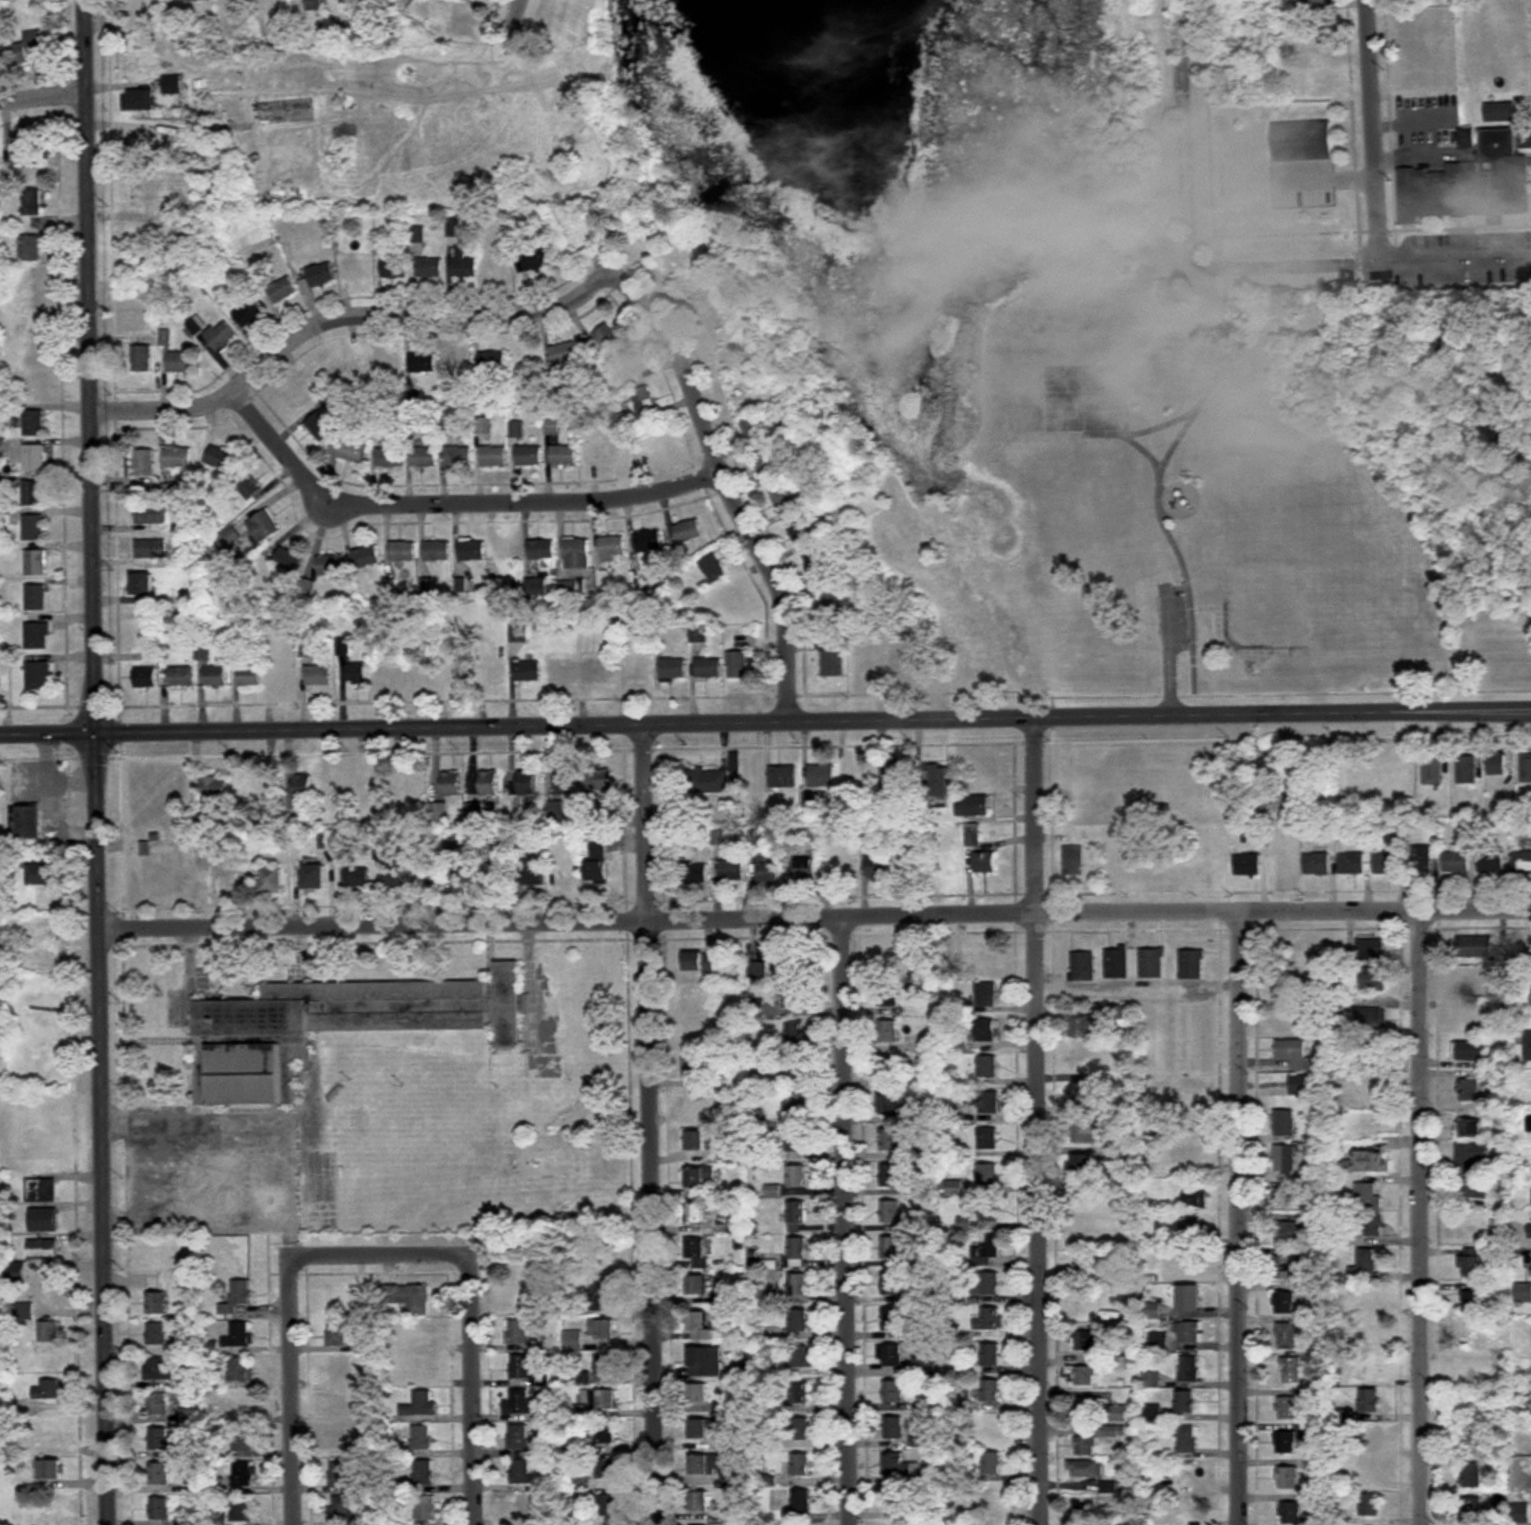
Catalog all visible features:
park: (9, 0)
building: (193, 0)
building: (1314, 1)
building: (142, 2)
building: (314, 4)
road: (518, 21)
building: (24, 49)
building: (1503, 52)
building: (1500, 82)
building: (172, 84)
road: (41, 99)
building: (138, 100)
building: (1499, 113)
road: (1410, 118)
road: (1190, 130)
road: (1373, 132)
building: (1466, 138)
building: (149, 141)
building: (1302, 141)
road: (1413, 154)
building: (27, 155)
building: (1469, 185)
building: (144, 193)
building: (32, 203)
building: (143, 232)
building: (30, 248)
building: (537, 259)
building: (463, 263)
building: (499, 263)
road: (1366, 264)
building: (429, 268)
building: (355, 269)
building: (394, 269)
building: (321, 274)
building: (33, 283)
building: (283, 291)
building: (249, 313)
building: (33, 319)
road: (347, 319)
building: (221, 336)
building: (166, 338)
building: (608, 340)
building: (32, 353)
park: (1055, 353)
building: (564, 354)
building: (142, 359)
building: (528, 360)
building: (492, 361)
building: (180, 363)
building: (422, 363)
building: (457, 363)
building: (388, 364)
building: (629, 369)
building: (32, 388)
building: (299, 395)
building: (644, 401)
building: (626, 421)
building: (35, 424)
building: (451, 424)
building: (482, 425)
building: (319, 427)
building: (753, 429)
building: (3, 448)
building: (348, 450)
road: (716, 450)
building: (601, 452)
building: (563, 455)
building: (493, 456)
building: (528, 456)
building: (458, 457)
building: (35, 458)
building: (178, 458)
building: (389, 458)
building: (423, 458)
building: (219, 459)
building: (145, 463)
building: (767, 464)
building: (247, 484)
building: (33, 493)
building: (784, 499)
road: (456, 503)
building: (150, 514)
building: (263, 526)
building: (34, 527)
building: (800, 531)
building: (688, 532)
building: (648, 542)
building: (151, 549)
building: (611, 549)
building: (540, 550)
building: (402, 551)
building: (436, 551)
building: (471, 551)
building: (576, 553)
building: (365, 557)
building: (287, 561)
building: (816, 561)
building: (37, 563)
building: (330, 565)
building: (714, 569)
building: (143, 584)
building: (568, 589)
building: (37, 598)
building: (731, 600)
building: (831, 604)
building: (518, 634)
building: (38, 636)
building: (585, 644)
building: (833, 660)
building: (898, 662)
building: (738, 665)
building: (865, 665)
building: (709, 669)
building: (496, 670)
building: (639, 670)
building: (674, 670)
building: (527, 671)
building: (562, 671)
building: (597, 671)
building: (357, 673)
building: (391, 673)
building: (456, 673)
building: (38, 676)
building: (318, 676)
building: (146, 677)
building: (180, 677)
building: (216, 677)
building: (250, 677)
road: (765, 722)
road: (94, 762)
building: (1500, 764)
building: (1526, 768)
building: (1433, 769)
building: (1468, 770)
building: (860, 775)
building: (897, 775)
building: (784, 776)
building: (822, 776)
building: (598, 780)
building: (708, 781)
building: (939, 781)
building: (565, 782)
building: (489, 783)
building: (526, 783)
building: (451, 784)
building: (414, 785)
building: (215, 787)
building: (302, 787)
building: (334, 787)
building: (373, 790)
building: (243, 791)
building: (885, 799)
building: (973, 806)
building: (266, 808)
building: (475, 811)
building: (326, 817)
building: (28, 823)
building: (973, 837)
building: (485, 840)
building: (345, 852)
building: (835, 854)
building: (1423, 860)
building: (596, 862)
building: (1457, 862)
building: (1522, 862)
building: (915, 863)
building: (985, 863)
building: (1074, 863)
building: (1283, 863)
building: (1352, 863)
building: (1492, 863)
building: (879, 864)
building: (1388, 864)
building: (952, 865)
building: (1248, 865)
building: (1317, 865)
building: (769, 868)
building: (805, 869)
building: (731, 871)
building: (464, 873)
building: (534, 873)
building: (498, 874)
building: (568, 874)
building: (41, 875)
building: (429, 875)
building: (695, 875)
building: (314, 877)
building: (357, 877)
building: (393, 877)
building: (240, 881)
building: (273, 881)
road: (815, 915)
building: (1476, 947)
building: (1372, 950)
building: (988, 959)
building: (699, 962)
building: (1116, 963)
building: (1151, 963)
building: (1191, 964)
building: (794, 965)
building: (887, 965)
building: (1082, 966)
building: (757, 971)
building: (1374, 979)
building: (1472, 987)
building: (887, 995)
building: (987, 995)
building: (793, 996)
building: (693, 997)
building: (1287, 1018)
building: (1372, 1019)
building: (1471, 1021)
building: (1085, 1026)
building: (324, 1029)
building: (985, 1030)
building: (888, 1033)
building: (694, 1034)
building: (793, 1037)
building: (959, 1042)
building: (1529, 1047)
building: (716, 1048)
building: (1472, 1052)
building: (1295, 1054)
building: (987, 1067)
building: (693, 1069)
building: (794, 1069)
building: (888, 1069)
building: (1185, 1085)
building: (1303, 1086)
building: (1471, 1091)
building: (1372, 1092)
building: (1083, 1093)
building: (984, 1103)
building: (696, 1105)
building: (794, 1105)
building: (889, 1105)
road: (1037, 1123)
building: (1285, 1124)
road: (648, 1125)
building: (1529, 1125)
building: (1471, 1130)
building: (1084, 1133)
building: (987, 1139)
building: (695, 1141)
building: (889, 1141)
building: (796, 1142)
building: (1120, 1153)
building: (1187, 1155)
building: (1472, 1157)
building: (1285, 1159)
building: (1368, 1163)
building: (1084, 1166)
road: (282, 1171)
building: (986, 1174)
building: (796, 1177)
building: (890, 1177)
building: (700, 1178)
building: (1474, 1190)
building: (41, 1191)
building: (1286, 1193)
building: (1368, 1197)
building: (1196, 1200)
building: (988, 1212)
building: (797, 1213)
building: (892, 1213)
building: (695, 1214)
road: (1429, 1217)
road: (1244, 1218)
road: (847, 1220)
building: (43, 1221)
building: (735, 1222)
building: (1372, 1225)
building: (1087, 1228)
building: (1191, 1228)
building: (1501, 1232)
building: (1288, 1233)
building: (989, 1248)
building: (890, 1249)
building: (42, 1250)
road: (378, 1253)
building: (797, 1253)
building: (697, 1255)
building: (1471, 1262)
building: (1085, 1263)
building: (1191, 1263)
building: (1365, 1263)
building: (1289, 1268)
building: (1530, 1268)
building: (17, 1274)
building: (988, 1283)
building: (892, 1285)
building: (696, 1286)
building: (798, 1286)
building: (516, 1290)
building: (1523, 1293)
building: (602, 1294)
building: (1365, 1295)
building: (238, 1297)
building: (407, 1297)
building: (722, 1298)
building: (336, 1299)
building: (1190, 1299)
building: (1472, 1302)
building: (1285, 1303)
building: (156, 1304)
building: (1088, 1305)
building: (24, 1311)
building: (895, 1319)
building: (989, 1319)
building: (799, 1321)
building: (700, 1328)
building: (602, 1329)
building: (1372, 1330)
building: (49, 1332)
building: (519, 1332)
building: (1188, 1332)
building: (337, 1333)
building: (421, 1333)
building: (157, 1334)
building: (239, 1336)
building: (1287, 1336)
building: (1084, 1340)
building: (573, 1341)
building: (990, 1355)
building: (893, 1356)
building: (800, 1357)
building: (705, 1362)
building: (606, 1364)
building: (424, 1367)
building: (520, 1367)
building: (928, 1367)
building: (1363, 1367)
building: (239, 1369)
building: (339, 1369)
building: (1189, 1369)
building: (159, 1370)
building: (1292, 1370)
building: (1475, 1372)
building: (1085, 1376)
building: (541, 1378)
building: (587, 1378)
road: (292, 1389)
road: (473, 1389)
building: (48, 1390)
building: (991, 1390)
building: (893, 1392)
building: (698, 1394)
building: (799, 1395)
building: (600, 1399)
building: (1369, 1401)
building: (1184, 1402)
building: (520, 1403)
building: (158, 1404)
building: (243, 1404)
building: (338, 1404)
building: (421, 1404)
building: (1288, 1408)
building: (1119, 1413)
building: (1152, 1414)
building: (893, 1427)
building: (991, 1427)
building: (700, 1429)
building: (800, 1429)
building: (50, 1432)
building: (1114, 1434)
building: (606, 1435)
building: (1372, 1437)
building: (421, 1438)
building: (518, 1438)
building: (160, 1440)
building: (244, 1440)
building: (337, 1440)
building: (1187, 1440)
building: (1285, 1442)
building: (1085, 1446)
building: (991, 1463)
building: (899, 1464)
building: (708, 1465)
building: (800, 1465)
building: (607, 1469)
building: (1084, 1469)
building: (51, 1470)
building: (1365, 1470)
building: (423, 1472)
building: (521, 1472)
building: (159, 1474)
building: (242, 1474)
building: (339, 1474)
building: (1190, 1475)
building: (1471, 1475)
building: (1287, 1478)
building: (550, 1480)
building: (583, 1483)
building: (1166, 1483)
building: (992, 1499)
building: (895, 1500)
building: (700, 1502)
building: (801, 1506)
building: (1368, 1506)
building: (426, 1508)
building: (523, 1508)
building: (608, 1508)
building: (159, 1509)
building: (242, 1509)
building: (341, 1509)
building: (1188, 1510)
building: (1471, 1510)
building: (1291, 1513)
building: (1519, 1513)
building: (1085, 1515)
building: (53, 1521)
building: (992, 1524)

